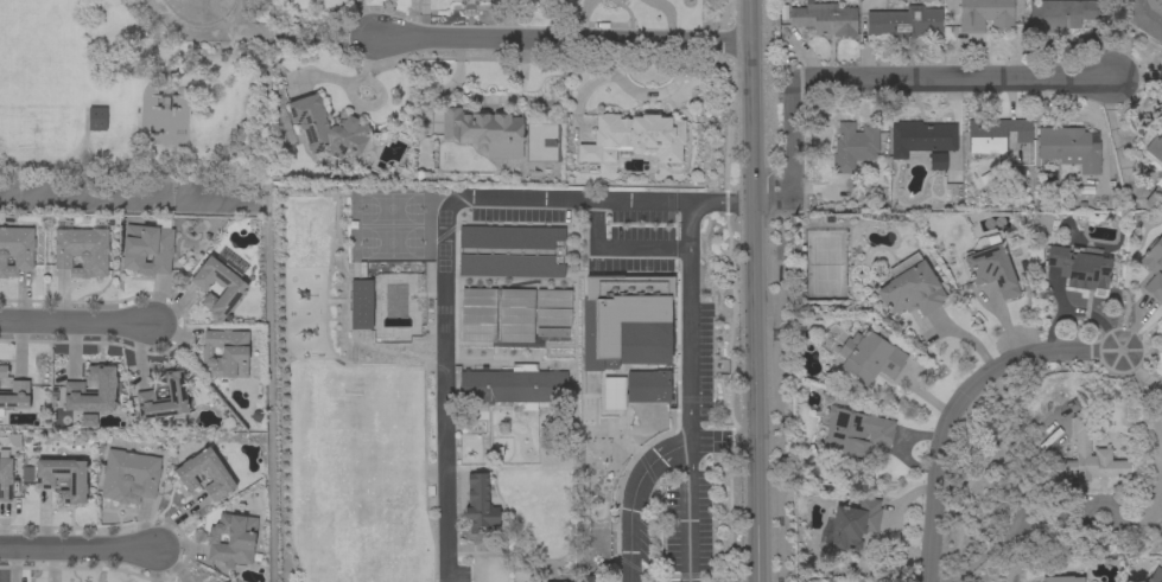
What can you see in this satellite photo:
park: (198, 9)
building: (1058, 14)
building: (984, 15)
building: (1145, 17)
road: (364, 19)
building: (825, 19)
building: (903, 21)
road: (560, 41)
road: (1138, 76)
road: (870, 81)
park: (131, 85)
road: (487, 98)
building: (96, 119)
building: (326, 129)
building: (484, 132)
building: (995, 135)
building: (636, 136)
building: (920, 137)
building: (853, 146)
building: (1151, 146)
building: (1069, 147)
building: (936, 160)
building: (1154, 194)
road: (122, 199)
road: (440, 242)
building: (147, 248)
road: (615, 249)
building: (15, 250)
building: (82, 251)
building: (510, 251)
building: (1153, 256)
building: (1079, 267)
building: (991, 268)
building: (220, 282)
building: (1154, 287)
building: (910, 288)
road: (749, 290)
building: (552, 298)
building: (358, 305)
building: (477, 314)
building: (515, 315)
building: (552, 316)
building: (623, 321)
road: (78, 324)
building: (292, 334)
building: (226, 353)
building: (869, 357)
building: (2, 371)
building: (646, 382)
building: (513, 386)
building: (91, 391)
building: (611, 394)
building: (145, 395)
building: (15, 396)
road: (687, 405)
road: (965, 408)
building: (853, 433)
road: (719, 447)
building: (1085, 459)
building: (217, 474)
building: (5, 477)
building: (128, 477)
building: (44, 480)
building: (480, 503)
road: (687, 514)
building: (850, 524)
road: (1015, 535)
building: (231, 539)
road: (78, 546)
building: (1155, 575)
building: (586, 578)
building: (1061, 578)
building: (228, 581)

